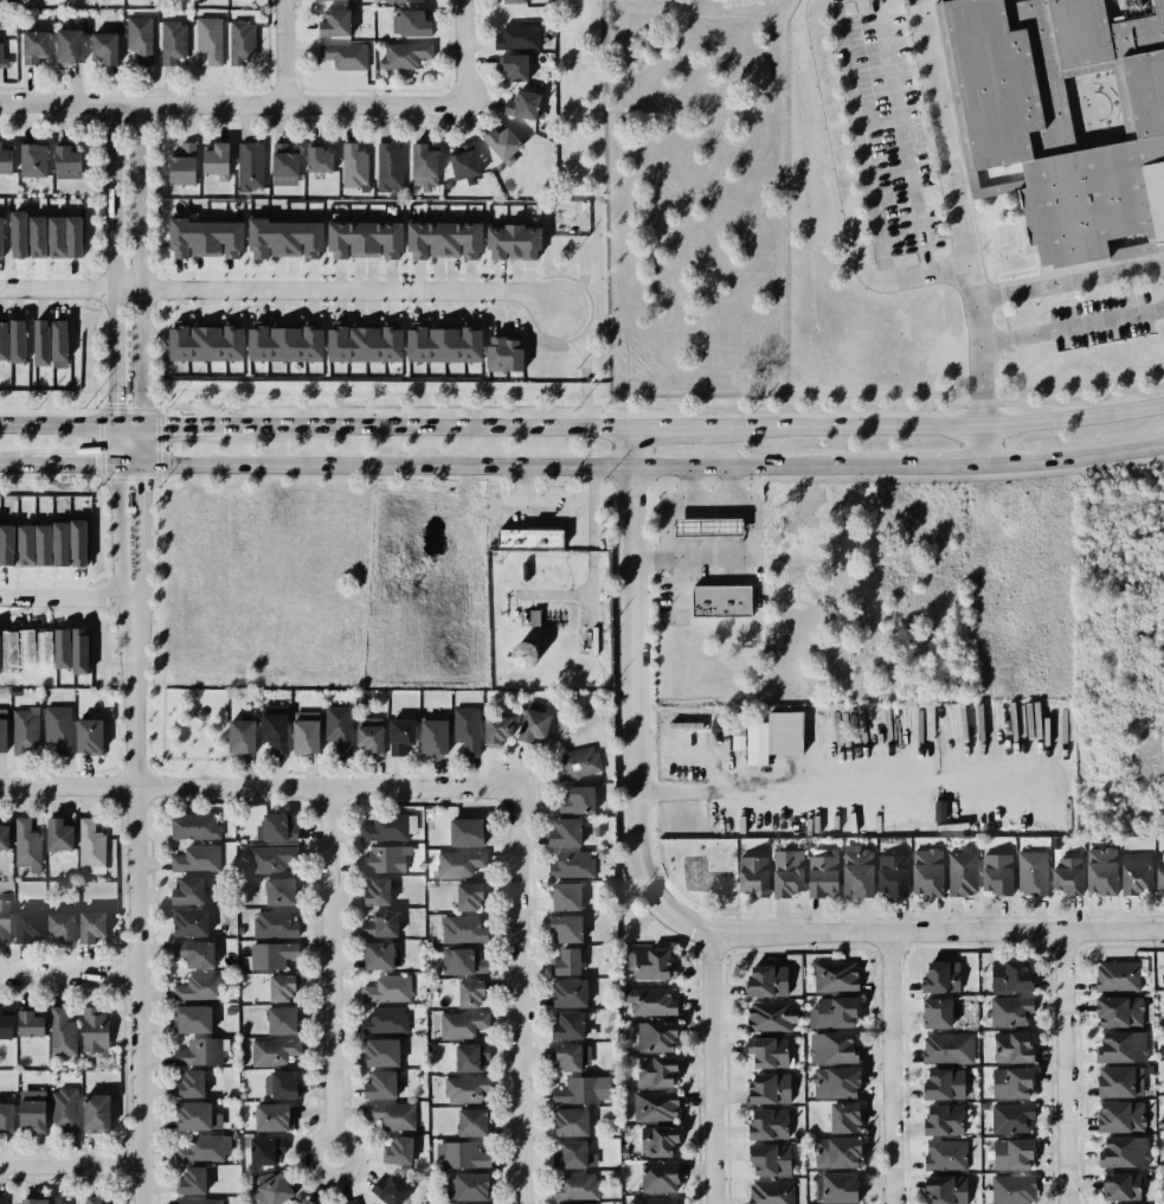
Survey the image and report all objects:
building: (324, 0)
building: (405, 0)
building: (515, 1)
building: (409, 20)
building: (334, 23)
building: (516, 37)
building: (172, 38)
building: (205, 40)
building: (135, 41)
building: (239, 41)
building: (64, 44)
building: (30, 46)
building: (98, 46)
road: (282, 50)
building: (345, 55)
building: (403, 55)
building: (4, 58)
building: (514, 66)
road: (592, 98)
road: (424, 100)
road: (141, 101)
building: (522, 104)
building: (1060, 119)
road: (900, 137)
road: (860, 141)
building: (502, 143)
building: (216, 158)
building: (317, 158)
building: (32, 159)
building: (66, 159)
building: (5, 160)
building: (464, 161)
building: (181, 164)
building: (283, 164)
building: (386, 164)
building: (247, 165)
building: (353, 165)
building: (423, 166)
building: (445, 184)
road: (844, 188)
road: (954, 211)
building: (19, 235)
building: (1, 236)
building: (65, 236)
building: (37, 237)
building: (204, 237)
building: (365, 238)
building: (284, 239)
building: (445, 239)
building: (512, 242)
road: (114, 262)
road: (1068, 281)
road: (281, 293)
road: (1128, 293)
road: (1004, 316)
road: (1070, 326)
building: (199, 339)
building: (2, 340)
building: (58, 340)
building: (282, 340)
building: (17, 341)
building: (40, 342)
building: (361, 342)
building: (440, 344)
building: (500, 352)
road: (140, 361)
road: (58, 424)
road: (129, 424)
road: (179, 424)
road: (422, 425)
road: (926, 425)
road: (658, 427)
road: (978, 444)
road: (1070, 457)
road: (14, 462)
road: (72, 462)
road: (508, 463)
road: (940, 465)
road: (686, 482)
road: (732, 482)
road: (741, 500)
road: (526, 501)
road: (508, 502)
road: (116, 523)
building: (707, 527)
gas station: (707, 527)
building: (526, 536)
building: (78, 543)
building: (7, 544)
building: (60, 544)
building: (26, 545)
building: (43, 545)
road: (677, 563)
road: (60, 594)
building: (719, 600)
building: (63, 648)
building: (79, 651)
building: (517, 652)
road: (186, 713)
building: (199, 713)
building: (269, 722)
park: (192, 723)
building: (527, 724)
building: (22, 728)
building: (57, 728)
building: (2, 730)
building: (497, 730)
building: (397, 731)
building: (462, 731)
building: (334, 734)
building: (85, 735)
building: (236, 735)
building: (301, 735)
building: (366, 736)
building: (429, 736)
building: (738, 738)
building: (757, 743)
road: (632, 748)
building: (575, 763)
road: (148, 768)
road: (161, 770)
road: (229, 770)
road: (176, 773)
road: (257, 786)
road: (780, 786)
building: (573, 799)
building: (939, 813)
building: (193, 826)
building: (270, 826)
building: (384, 827)
building: (462, 831)
building: (560, 831)
building: (58, 833)
building: (4, 835)
building: (89, 841)
building: (24, 844)
building: (195, 857)
building: (268, 857)
building: (380, 858)
building: (458, 863)
building: (568, 864)
park: (700, 867)
building: (854, 869)
building: (924, 869)
building: (812, 870)
building: (1061, 871)
building: (1099, 871)
building: (780, 872)
building: (1029, 872)
building: (1133, 872)
building: (751, 873)
building: (962, 873)
building: (990, 873)
building: (889, 875)
building: (1160, 876)
building: (184, 889)
building: (277, 889)
building: (372, 891)
building: (470, 894)
building: (561, 896)
road: (134, 912)
building: (5, 922)
building: (186, 922)
building: (377, 923)
building: (27, 924)
building: (274, 924)
building: (57, 926)
building: (86, 926)
building: (239, 928)
building: (459, 928)
building: (561, 928)
road: (988, 929)
building: (193, 952)
building: (274, 955)
building: (374, 955)
building: (561, 959)
building: (244, 961)
building: (455, 961)
building: (648, 966)
road: (328, 969)
building: (1163, 972)
building: (763, 973)
building: (835, 973)
building: (937, 974)
road: (67, 975)
building: (1009, 975)
building: (1114, 975)
building: (282, 985)
building: (198, 986)
building: (387, 987)
building: (565, 992)
building: (465, 993)
road: (517, 994)
building: (649, 1001)
building: (1162, 1007)
building: (227, 1008)
building: (1113, 1011)
building: (1009, 1012)
building: (829, 1013)
building: (943, 1013)
building: (770, 1016)
building: (189, 1017)
building: (381, 1019)
building: (277, 1020)
building: (25, 1023)
building: (461, 1023)
building: (564, 1024)
building: (4, 1025)
building: (90, 1029)
building: (59, 1033)
building: (652, 1037)
building: (831, 1045)
building: (1117, 1045)
building: (945, 1046)
building: (1009, 1048)
building: (272, 1050)
building: (375, 1050)
building: (195, 1051)
building: (765, 1052)
building: (559, 1056)
building: (467, 1057)
road: (709, 1067)
road: (1062, 1067)
road: (888, 1068)
building: (654, 1074)
building: (1112, 1081)
building: (277, 1083)
building: (375, 1083)
building: (831, 1083)
building: (186, 1084)
building: (1005, 1084)
building: (944, 1085)
building: (763, 1088)
building: (463, 1090)
building: (574, 1090)
building: (64, 1107)
building: (656, 1109)
building: (92, 1112)
building: (193, 1114)
building: (5, 1115)
building: (28, 1115)
building: (391, 1115)
building: (1117, 1115)
building: (266, 1116)
building: (841, 1116)
building: (1010, 1119)
building: (468, 1121)
building: (565, 1121)
building: (944, 1121)
building: (230, 1125)
building: (765, 1125)
building: (232, 1135)
building: (654, 1140)
building: (199, 1148)
building: (261, 1149)
building: (393, 1149)
building: (1119, 1149)
building: (830, 1152)
building: (456, 1153)
building: (566, 1153)
building: (1010, 1154)
building: (941, 1155)
building: (763, 1160)
road: (70, 1168)
building: (655, 1177)
building: (191, 1179)
building: (463, 1185)
building: (575, 1185)
building: (1115, 1186)
building: (831, 1189)
building: (269, 1190)
building: (388, 1190)
building: (1011, 1190)
building: (938, 1191)
building: (766, 1192)
building: (28, 1197)
building: (58, 1197)
building: (1, 1199)
building: (89, 1199)
building: (195, 1200)
building: (302, 1202)
building: (348, 1202)
building: (574, 1203)
building: (652, 1203)

